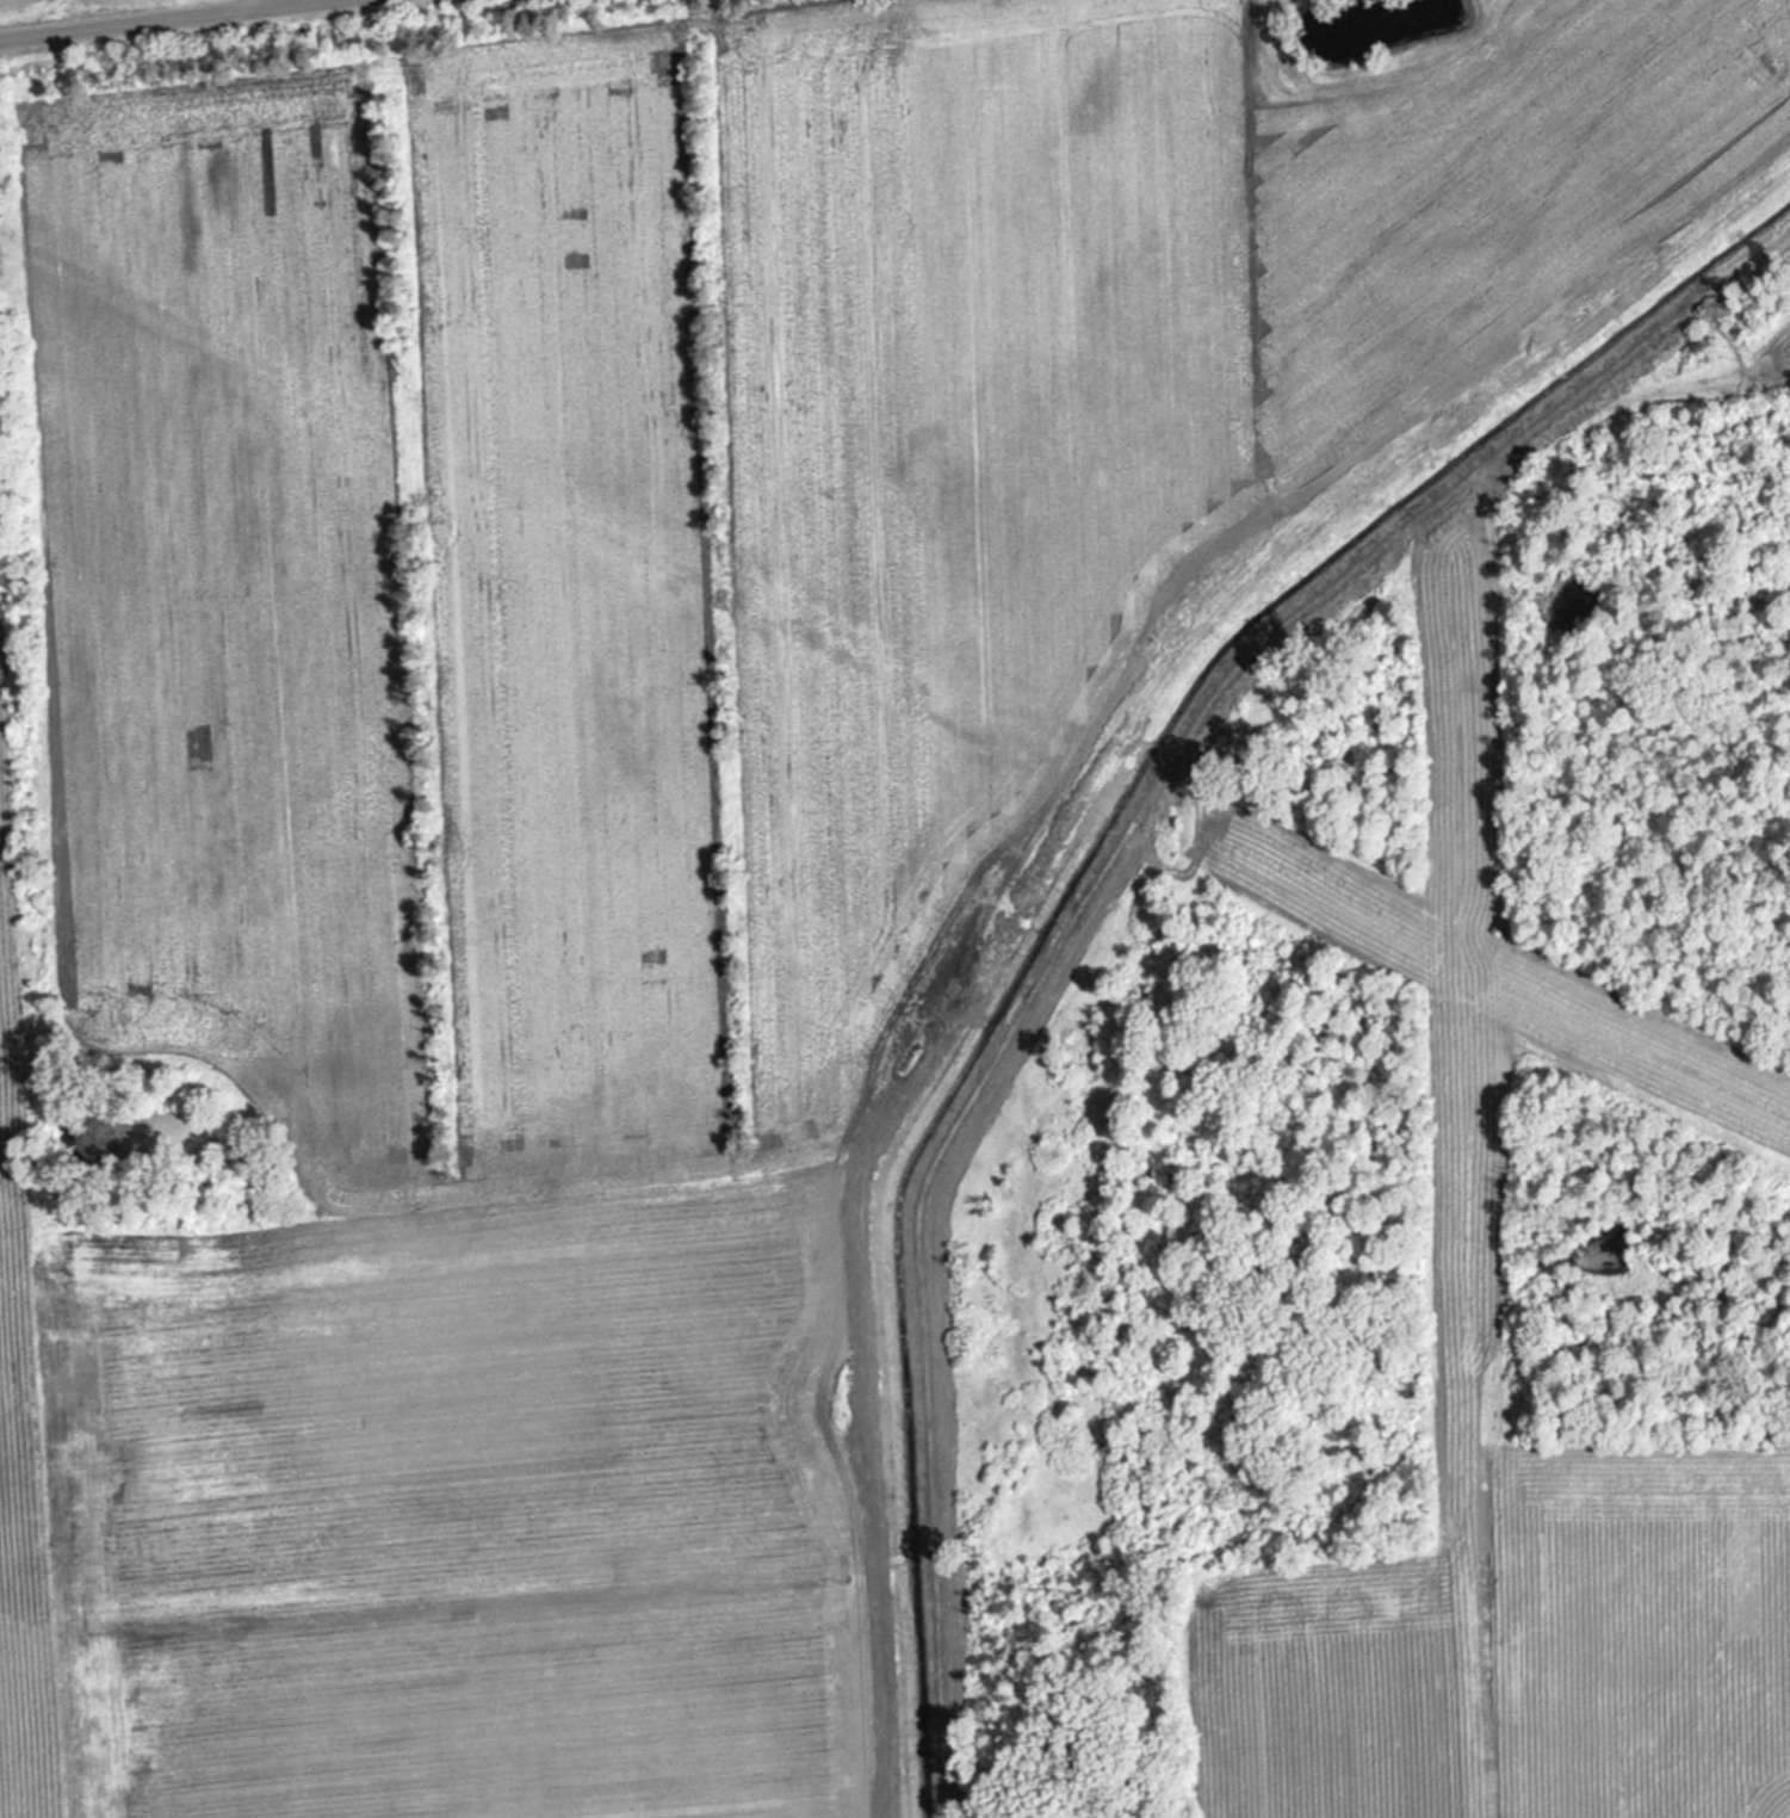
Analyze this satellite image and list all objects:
road: (252, 6)
road: (178, 21)

